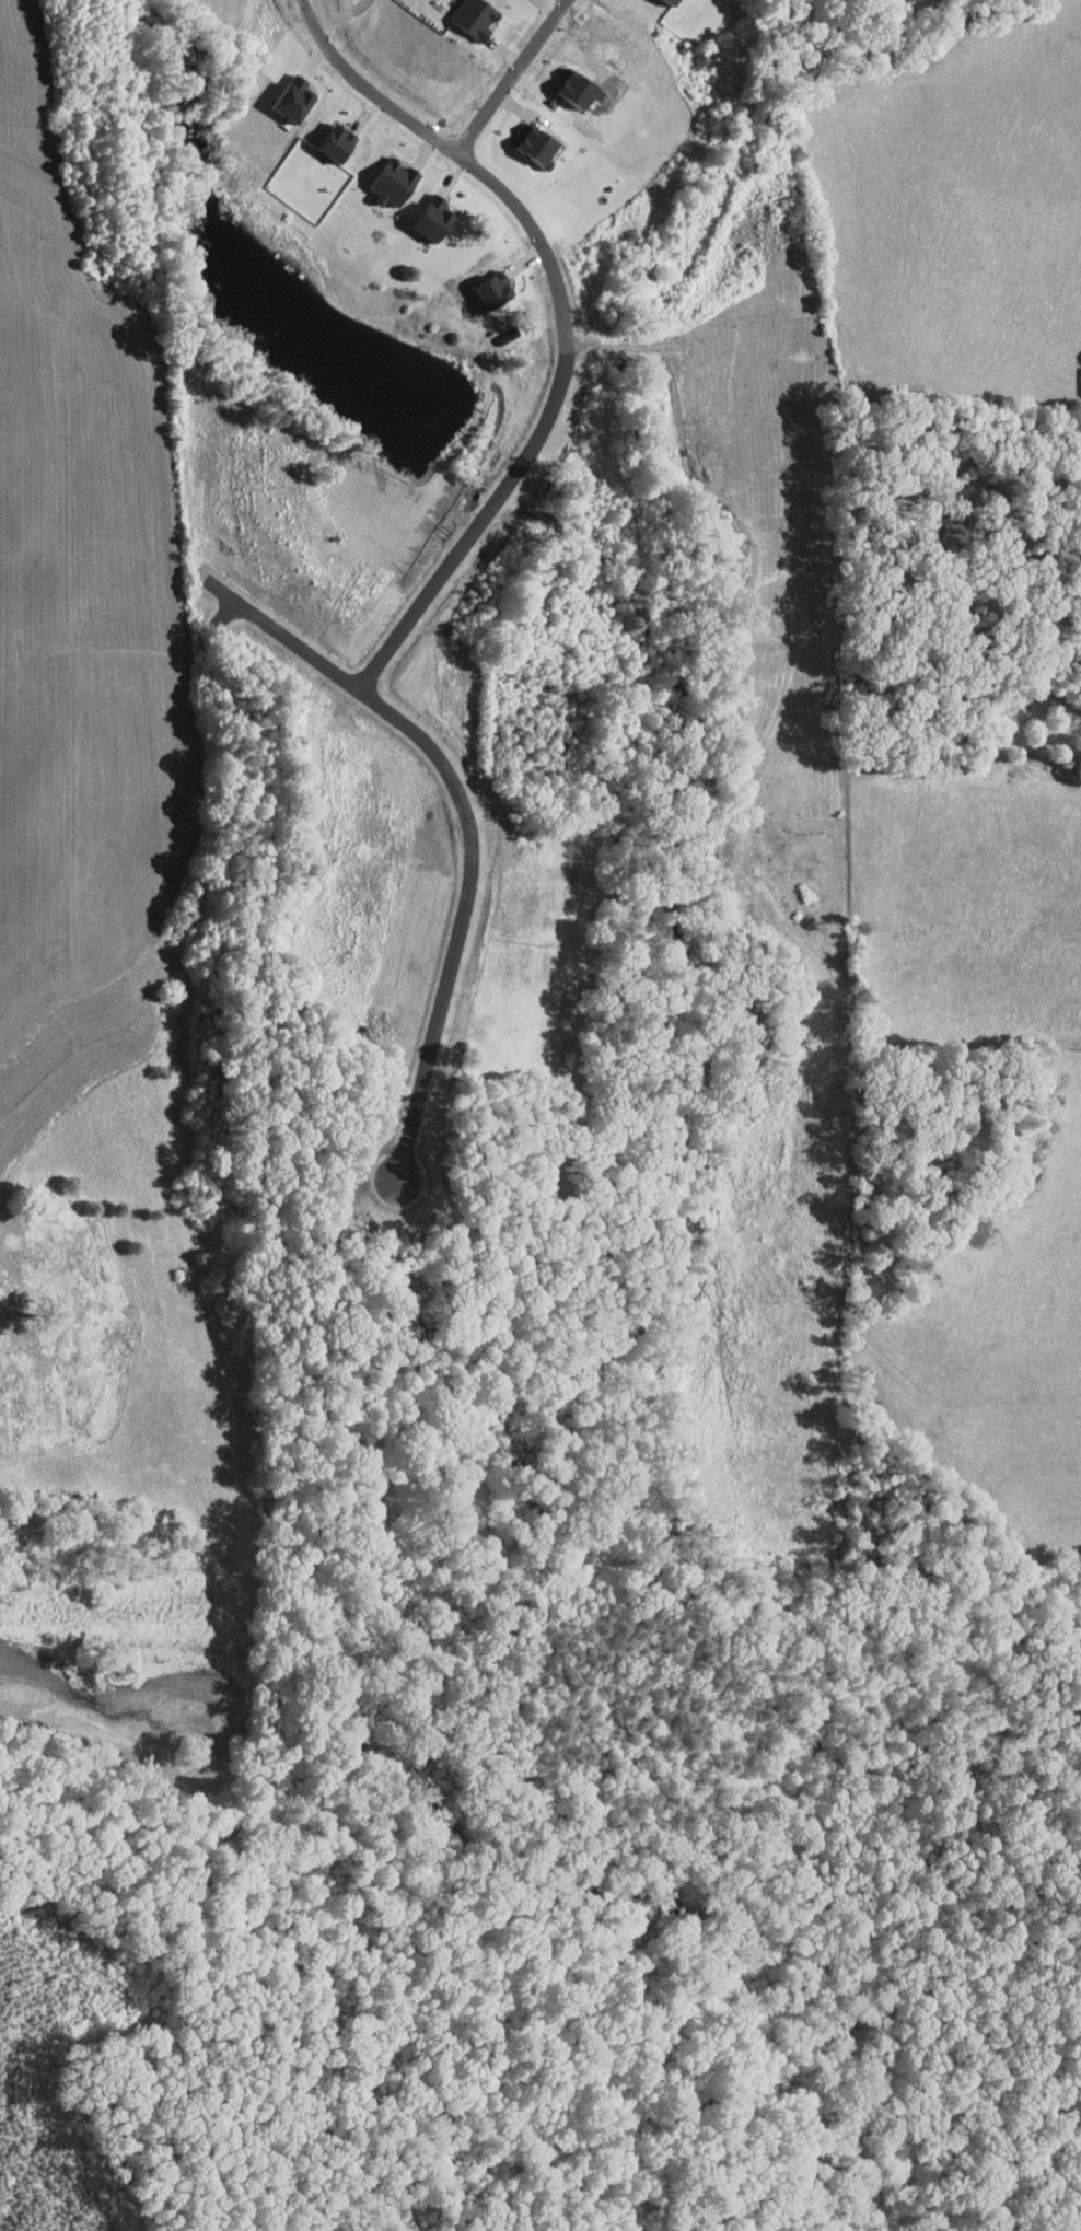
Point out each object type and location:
building: (672, 2)
building: (475, 18)
road: (512, 75)
building: (337, 142)
building: (536, 146)
building: (395, 182)
building: (434, 218)
building: (492, 291)
road: (563, 325)

